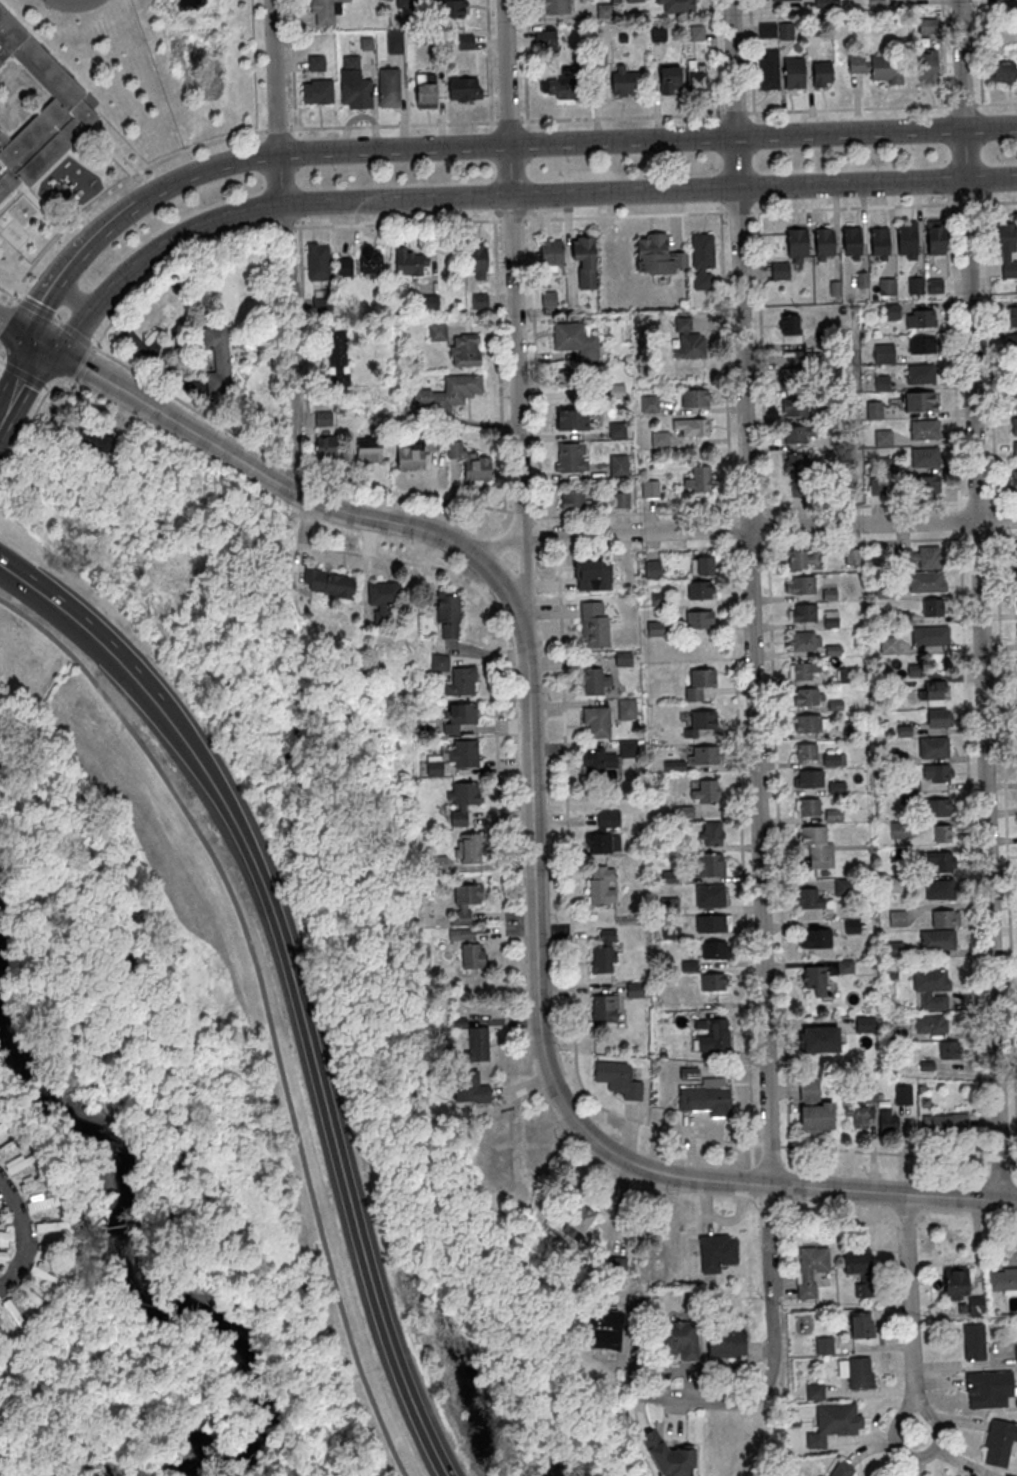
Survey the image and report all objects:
building: (633, 0)
building: (780, 0)
road: (68, 1)
building: (823, 2)
building: (876, 2)
building: (677, 4)
building: (556, 6)
street lamp: (47, 7)
building: (451, 8)
building: (606, 10)
building: (325, 11)
building: (927, 25)
building: (767, 30)
building: (786, 30)
building: (697, 32)
building: (658, 33)
building: (546, 40)
building: (465, 41)
road: (943, 52)
road: (978, 52)
building: (598, 56)
road: (751, 56)
road: (714, 57)
road: (524, 60)
road: (489, 61)
building: (856, 63)
road: (291, 64)
building: (929, 64)
building: (887, 67)
building: (769, 70)
building: (794, 72)
building: (822, 72)
building: (1002, 72)
building: (669, 78)
building: (622, 80)
building: (696, 80)
building: (317, 83)
building: (567, 83)
building: (353, 84)
building: (388, 87)
building: (464, 88)
building: (425, 91)
road: (998, 103)
road: (962, 104)
building: (67, 105)
road: (849, 108)
road: (734, 112)
road: (621, 117)
road: (508, 120)
road: (392, 125)
road: (280, 129)
road: (571, 143)
street lamp: (912, 149)
street lamp: (789, 153)
street lamp: (679, 157)
street lamp: (1000, 160)
street lamp: (569, 161)
street lamp: (451, 164)
street lamp: (875, 164)
street lamp: (335, 169)
street lamp: (714, 169)
street lamp: (562, 175)
street lamp: (227, 181)
road: (119, 183)
street lamp: (422, 183)
street lamp: (312, 185)
road: (506, 197)
road: (998, 202)
road: (966, 203)
street lamp: (205, 204)
road: (852, 208)
road: (738, 211)
road: (625, 216)
road: (512, 220)
road: (396, 223)
street lamp: (136, 225)
road: (285, 227)
building: (1006, 236)
building: (907, 238)
building: (936, 238)
building: (798, 240)
building: (825, 240)
building: (852, 240)
building: (880, 240)
road: (287, 246)
building: (551, 252)
building: (657, 255)
building: (370, 259)
building: (477, 259)
building: (317, 260)
building: (410, 261)
building: (702, 261)
building: (584, 262)
road: (69, 263)
road: (170, 266)
building: (343, 266)
road: (511, 268)
building: (780, 270)
street lamp: (100, 274)
building: (916, 285)
building: (887, 286)
road: (77, 291)
road: (6, 292)
building: (548, 298)
building: (479, 301)
building: (429, 302)
road: (6, 306)
building: (890, 311)
building: (1011, 315)
road: (54, 317)
building: (920, 318)
building: (789, 324)
road: (20, 332)
building: (437, 332)
building: (576, 340)
building: (687, 340)
traffic signals: (40, 344)
building: (923, 344)
building: (1012, 345)
building: (464, 349)
road: (303, 351)
building: (885, 352)
road: (990, 355)
building: (217, 357)
road: (954, 357)
building: (337, 359)
road: (761, 363)
road: (498, 365)
road: (725, 365)
road: (83, 369)
road: (25, 372)
road: (535, 372)
building: (920, 373)
building: (794, 378)
building: (566, 379)
road: (20, 380)
building: (883, 382)
street lamp: (47, 391)
building: (449, 392)
building: (617, 392)
building: (694, 397)
building: (1014, 397)
building: (920, 401)
building: (649, 404)
building: (794, 407)
building: (875, 409)
building: (571, 419)
road: (30, 422)
building: (692, 426)
building: (617, 429)
building: (923, 429)
building: (797, 433)
building: (1014, 435)
building: (90, 436)
building: (884, 437)
building: (659, 438)
building: (325, 447)
building: (454, 448)
building: (368, 451)
building: (414, 453)
building: (570, 456)
building: (925, 457)
building: (619, 465)
building: (885, 465)
road: (287, 466)
building: (477, 469)
building: (799, 476)
building: (698, 480)
building: (1014, 481)
building: (927, 484)
building: (877, 486)
building: (649, 489)
building: (621, 499)
building: (572, 500)
road: (1002, 500)
road: (977, 501)
road: (862, 505)
road: (748, 510)
road: (521, 514)
road: (635, 514)
road: (958, 520)
road: (995, 520)
road: (766, 526)
road: (768, 527)
road: (730, 528)
road: (549, 533)
road: (1002, 536)
road: (978, 537)
road: (863, 541)
road: (302, 543)
road: (499, 546)
road: (749, 546)
road: (648, 549)
building: (1015, 549)
building: (852, 556)
building: (921, 557)
building: (799, 559)
building: (703, 565)
building: (592, 568)
building: (652, 568)
building: (924, 581)
building: (328, 582)
building: (799, 584)
building: (700, 589)
road: (749, 592)
building: (382, 596)
road: (523, 596)
road: (978, 600)
building: (1016, 603)
building: (446, 606)
building: (934, 606)
building: (802, 612)
building: (830, 618)
building: (699, 620)
building: (593, 623)
building: (654, 628)
building: (930, 635)
building: (804, 640)
road: (99, 641)
building: (888, 644)
building: (439, 662)
building: (804, 670)
building: (593, 680)
building: (461, 681)
building: (698, 683)
building: (932, 689)
building: (808, 696)
building: (626, 708)
building: (457, 716)
building: (937, 717)
building: (596, 720)
building: (701, 720)
building: (810, 722)
building: (933, 746)
building: (628, 748)
building: (805, 750)
road: (495, 753)
building: (703, 755)
building: (450, 758)
building: (599, 761)
building: (937, 773)
building: (809, 777)
building: (706, 792)
building: (461, 801)
building: (936, 806)
building: (807, 807)
road: (531, 822)
building: (899, 830)
building: (942, 832)
building: (605, 833)
building: (711, 833)
road: (777, 842)
building: (817, 844)
building: (468, 847)
road: (1006, 847)
road: (741, 853)
building: (940, 861)
building: (438, 862)
building: (707, 864)
road: (970, 865)
building: (892, 884)
building: (601, 885)
building: (939, 889)
building: (711, 895)
building: (809, 897)
building: (465, 901)
road: (570, 911)
building: (897, 917)
building: (944, 918)
building: (711, 923)
building: (851, 925)
building: (814, 937)
building: (938, 939)
building: (471, 950)
building: (716, 950)
building: (604, 952)
building: (814, 979)
building: (712, 981)
building: (931, 987)
building: (634, 990)
road: (263, 1004)
building: (604, 1007)
park: (242, 1021)
building: (930, 1023)
building: (865, 1024)
road: (83, 1033)
building: (711, 1034)
building: (820, 1038)
building: (476, 1043)
building: (949, 1049)
building: (618, 1078)
building: (469, 1087)
building: (903, 1093)
building: (707, 1099)
road: (322, 1102)
building: (814, 1108)
building: (857, 1114)
building: (887, 1118)
building: (944, 1122)
building: (2, 1124)
building: (7, 1146)
road: (769, 1146)
road: (884, 1152)
road: (999, 1160)
building: (18, 1162)
road: (1012, 1162)
road: (752, 1176)
building: (30, 1182)
building: (42, 1200)
building: (1, 1218)
building: (577, 1222)
building: (47, 1225)
building: (6, 1237)
road: (24, 1237)
building: (49, 1246)
building: (717, 1251)
building: (4, 1256)
road: (284, 1259)
building: (856, 1261)
building: (615, 1264)
building: (810, 1269)
river: (135, 1279)
building: (1002, 1279)
building: (960, 1288)
building: (31, 1296)
building: (15, 1312)
road: (909, 1314)
building: (861, 1324)
building: (602, 1329)
building: (1, 1337)
building: (678, 1339)
building: (973, 1341)
building: (725, 1343)
building: (824, 1344)
road: (772, 1346)
building: (1016, 1353)
building: (856, 1371)
road: (283, 1387)
building: (985, 1388)
building: (814, 1391)
building: (833, 1423)
road: (282, 1437)
building: (999, 1442)
building: (667, 1456)
building: (842, 1469)

